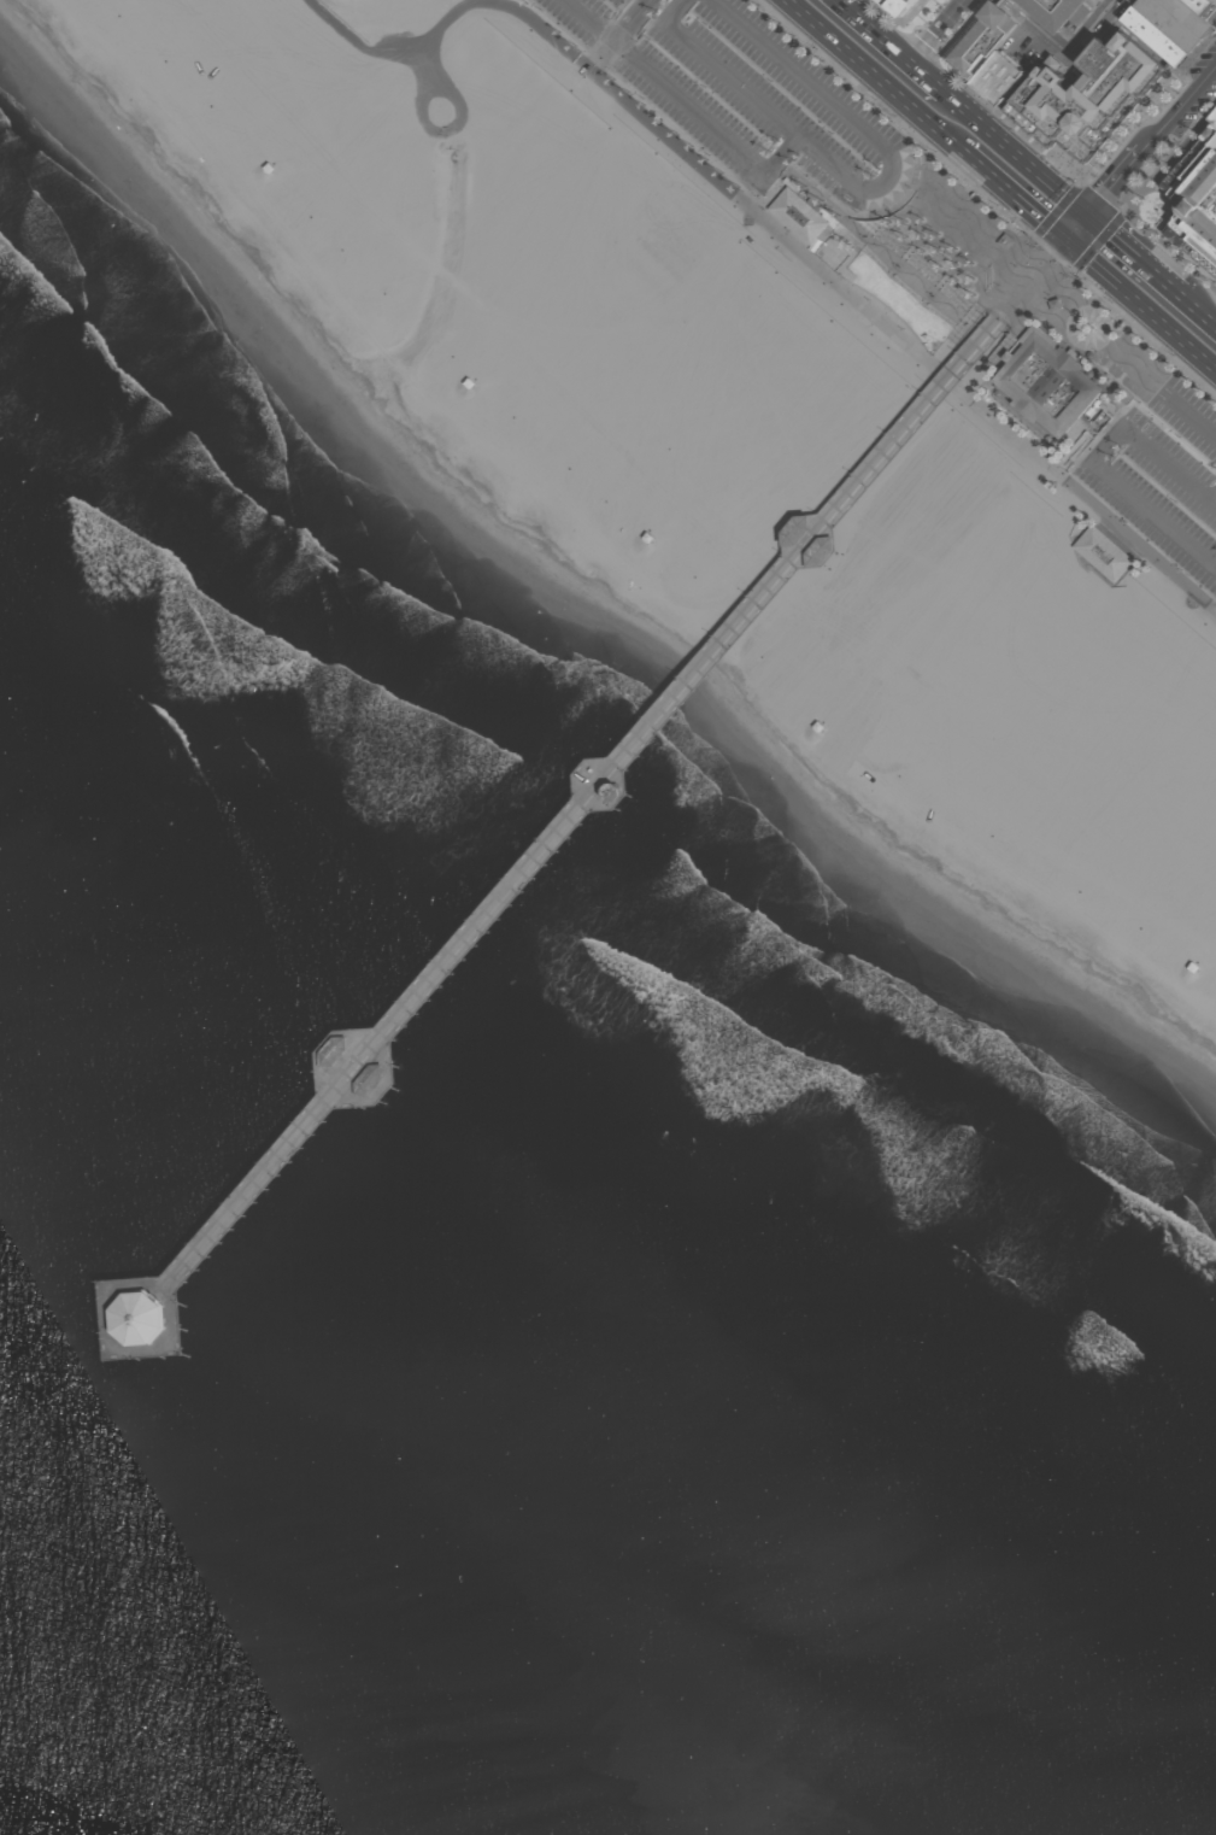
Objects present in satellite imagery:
building: (903, 7)
building: (1206, 7)
building: (1052, 11)
building: (1193, 14)
road: (632, 19)
building: (1174, 22)
road: (940, 30)
building: (1159, 34)
road: (1142, 41)
road: (895, 42)
building: (981, 45)
road: (1063, 49)
road: (603, 54)
road: (428, 68)
road: (723, 71)
road: (874, 74)
building: (1003, 75)
road: (1028, 77)
parking lot: (751, 95)
building: (1088, 95)
building: (1009, 96)
road: (687, 102)
road: (1179, 109)
building: (1214, 116)
road: (859, 123)
road: (450, 125)
road: (1018, 148)
building: (287, 153)
road: (1115, 181)
road: (1012, 193)
building: (1197, 203)
traffic signals: (1089, 211)
road: (999, 215)
building: (799, 216)
road: (1077, 224)
road: (775, 228)
traffic signals: (1065, 239)
building: (1004, 241)
road: (875, 244)
road: (1135, 251)
road: (1028, 285)
road: (1140, 304)
road: (1198, 306)
road: (1004, 312)
flagpole: (929, 344)
flagpole: (936, 344)
flagpole: (929, 351)
building: (493, 354)
building: (1052, 385)
road: (1185, 411)
road: (1080, 446)
road: (1070, 449)
road: (1070, 457)
road: (1095, 459)
parking lot: (1159, 461)
road: (1215, 499)
building: (663, 521)
building: (797, 529)
building: (1103, 553)
building: (846, 690)
building: (613, 791)
building: (1194, 948)
building: (337, 1050)
building: (374, 1079)
building: (146, 1318)
road: (121, 1361)

